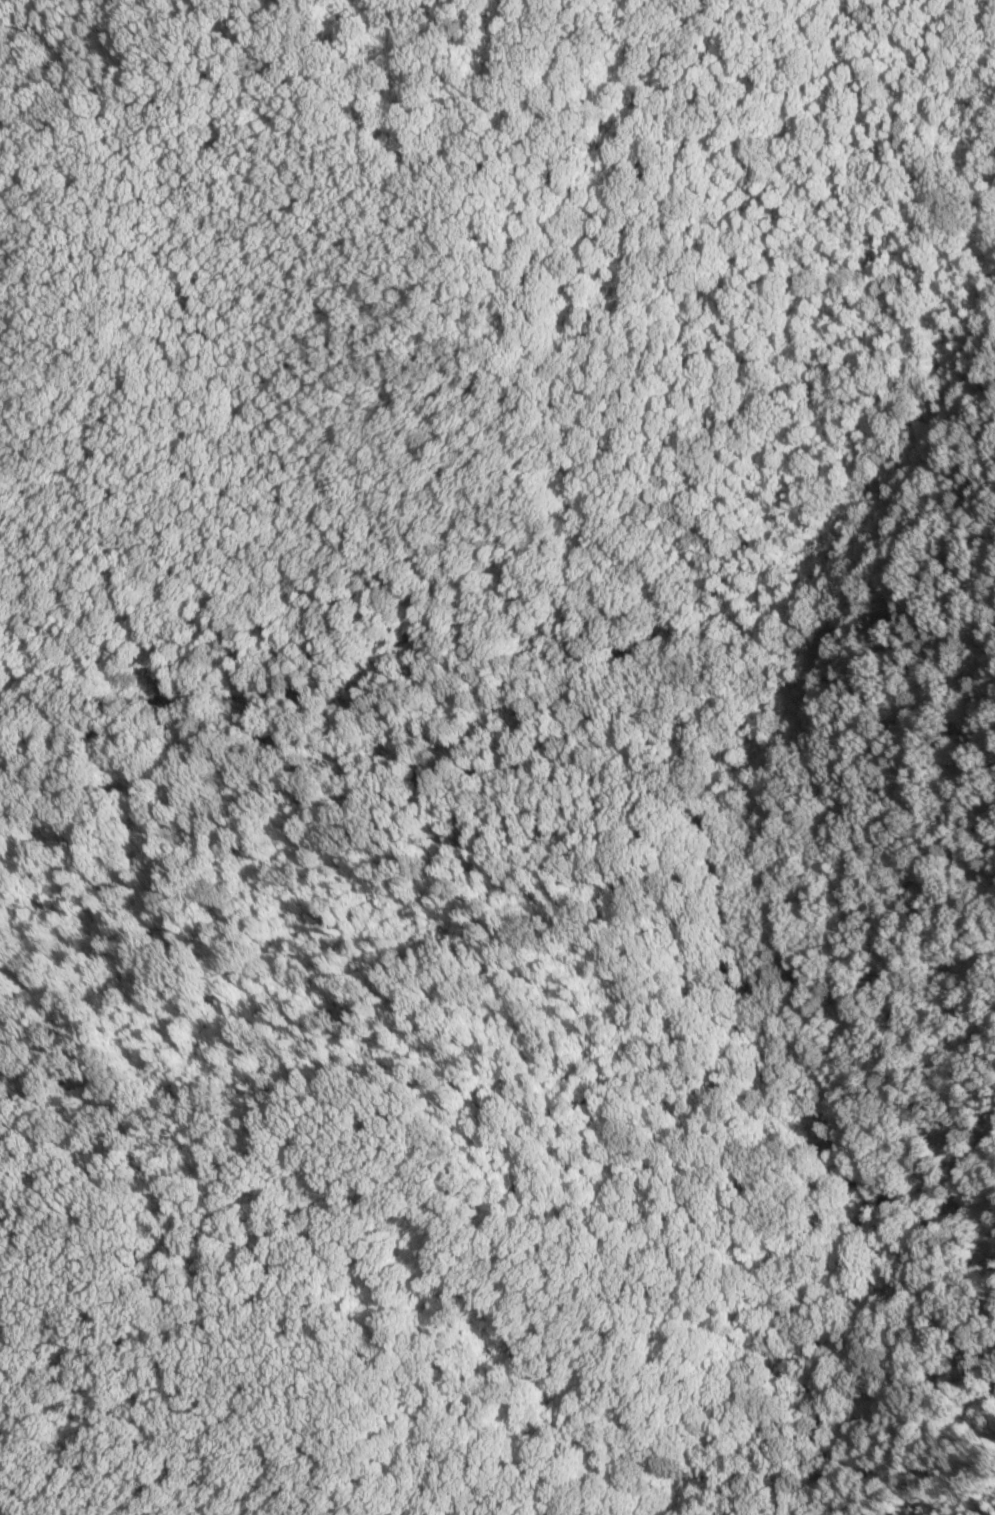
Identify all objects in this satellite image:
road: (757, 948)

